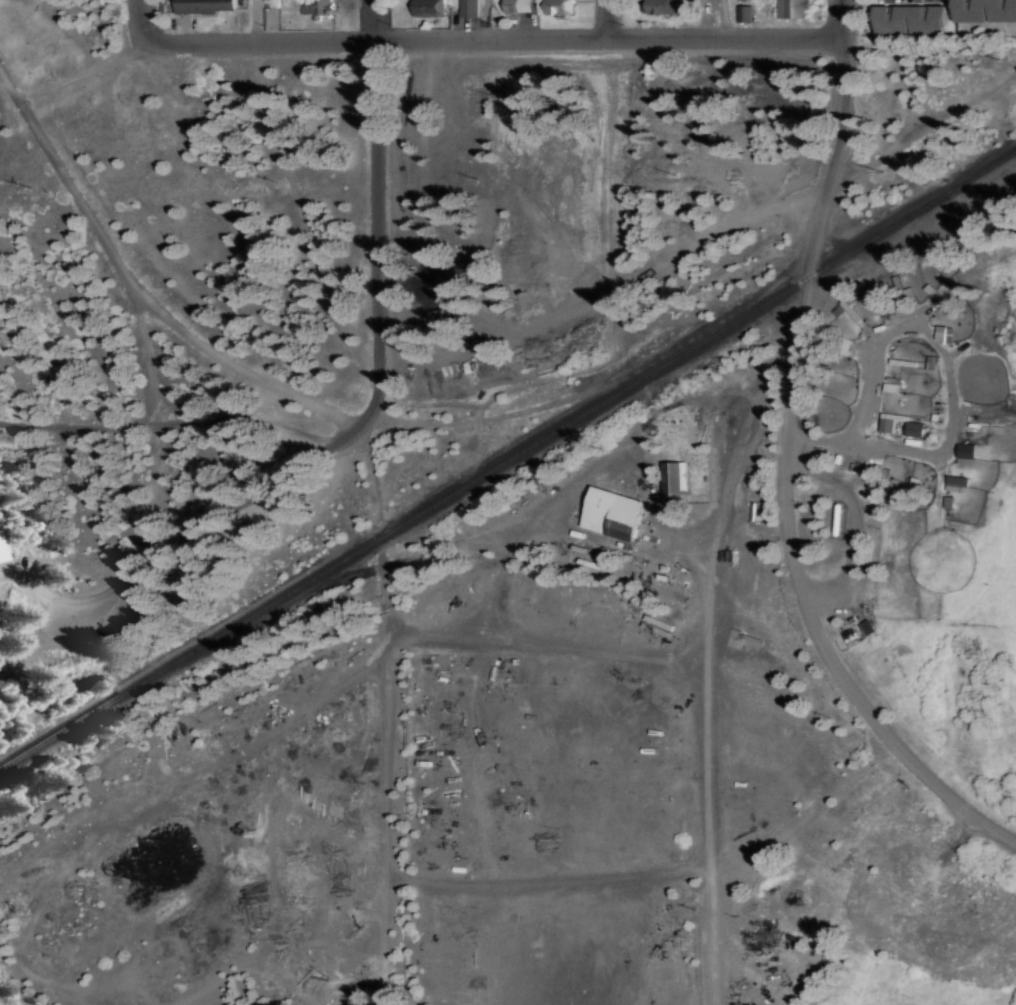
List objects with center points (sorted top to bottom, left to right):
building: (517, 5)
building: (205, 6)
building: (669, 6)
building: (555, 7)
building: (315, 8)
building: (430, 8)
building: (470, 8)
building: (792, 8)
road: (840, 10)
building: (986, 10)
building: (744, 13)
road: (142, 16)
road: (488, 17)
road: (722, 17)
building: (913, 17)
road: (608, 18)
road: (253, 19)
road: (495, 35)
road: (378, 270)
road: (140, 285)
building: (944, 332)
railway: (699, 343)
road: (184, 419)
building: (888, 424)
building: (967, 450)
road: (787, 468)
building: (676, 481)
building: (957, 481)
building: (615, 512)
building: (1, 550)
railway: (191, 652)
road: (390, 770)

